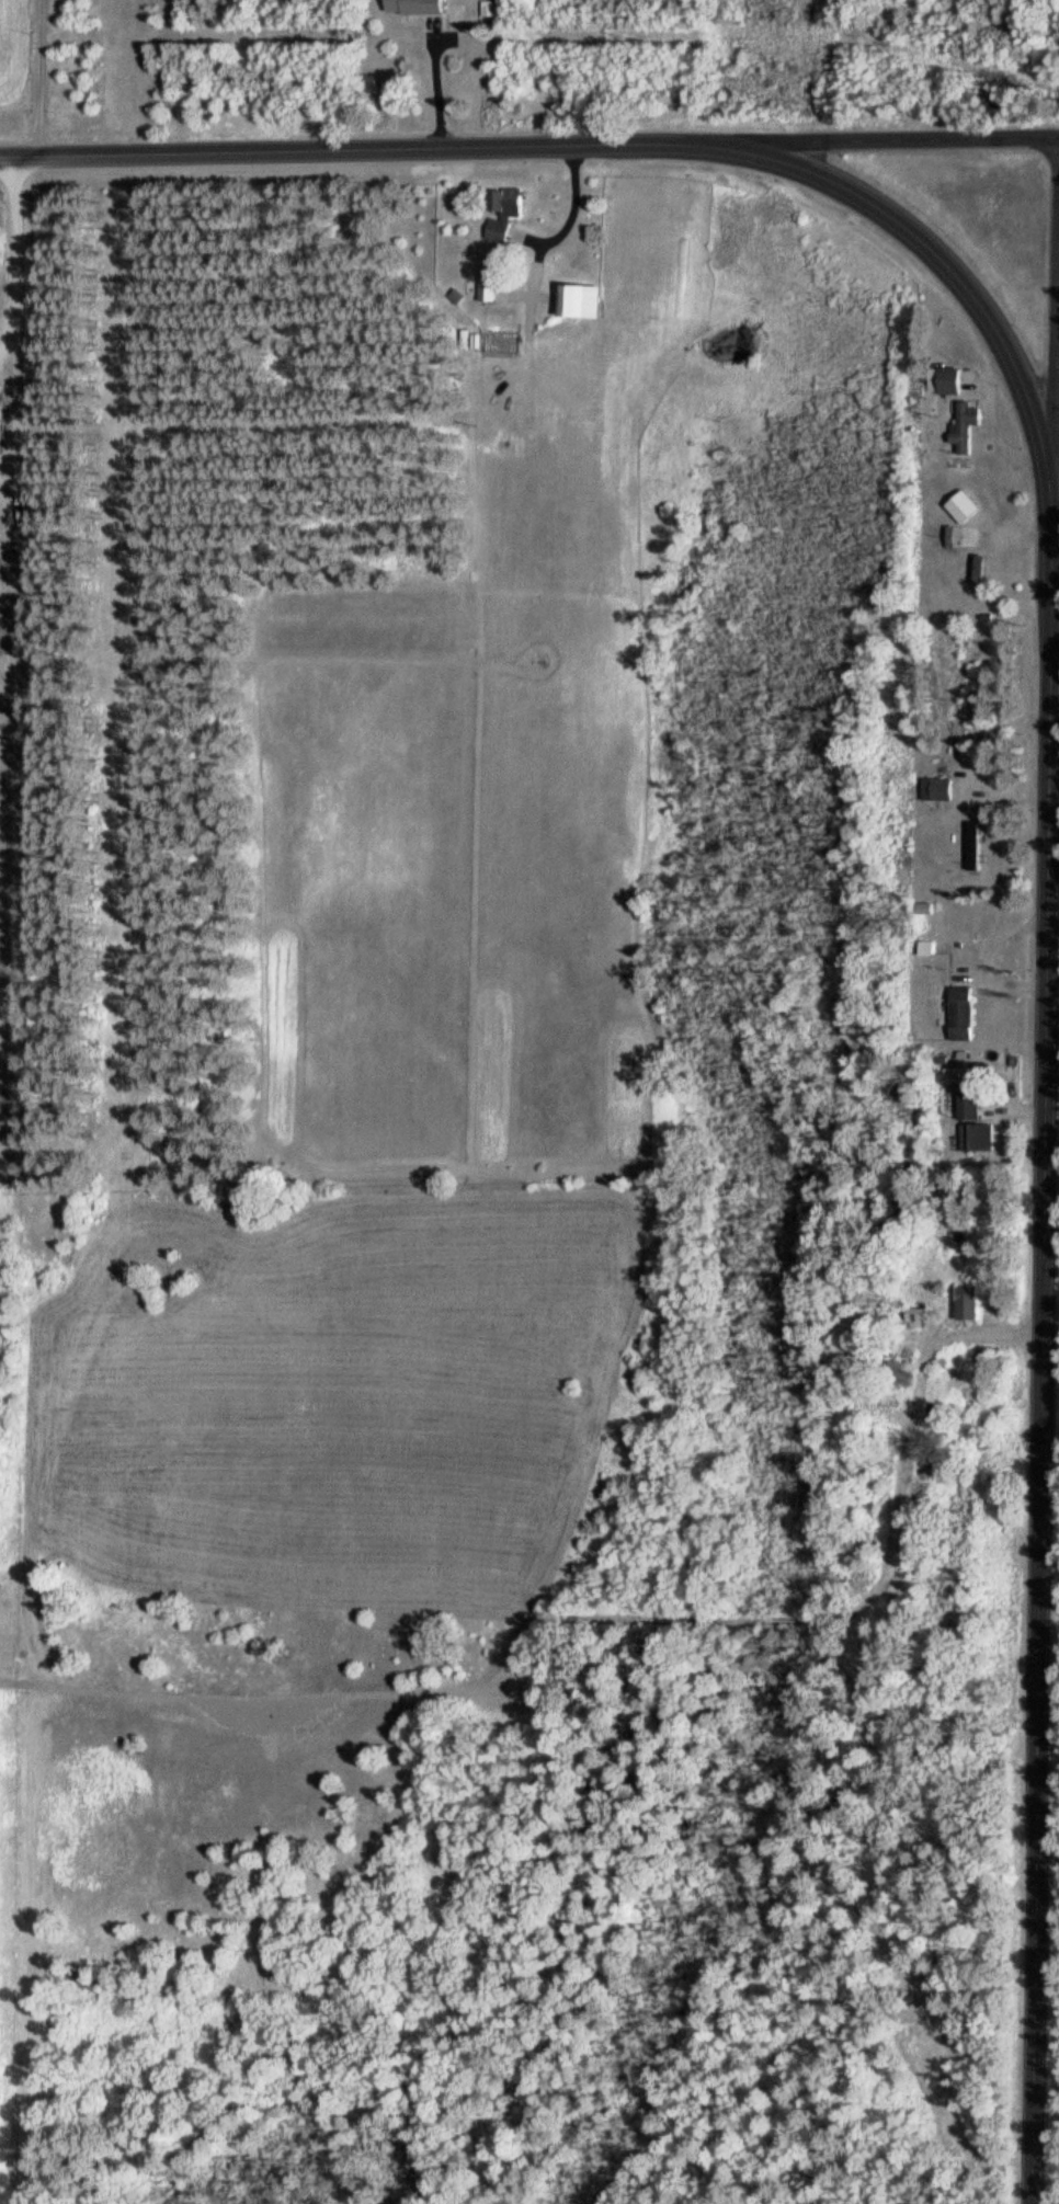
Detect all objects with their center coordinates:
building: (421, 7)
road: (897, 144)
road: (367, 157)
road: (574, 209)
building: (511, 212)
road: (935, 258)
building: (491, 288)
building: (591, 299)
road: (1054, 362)
building: (944, 381)
building: (1, 419)
road: (14, 423)
building: (959, 425)
building: (956, 506)
building: (981, 579)
road: (1056, 630)
road: (1, 638)
building: (937, 786)
building: (972, 844)
building: (923, 949)
building: (959, 1014)
building: (976, 1138)
building: (964, 1304)
building: (912, 1318)
road: (1044, 1329)
building: (891, 1373)

